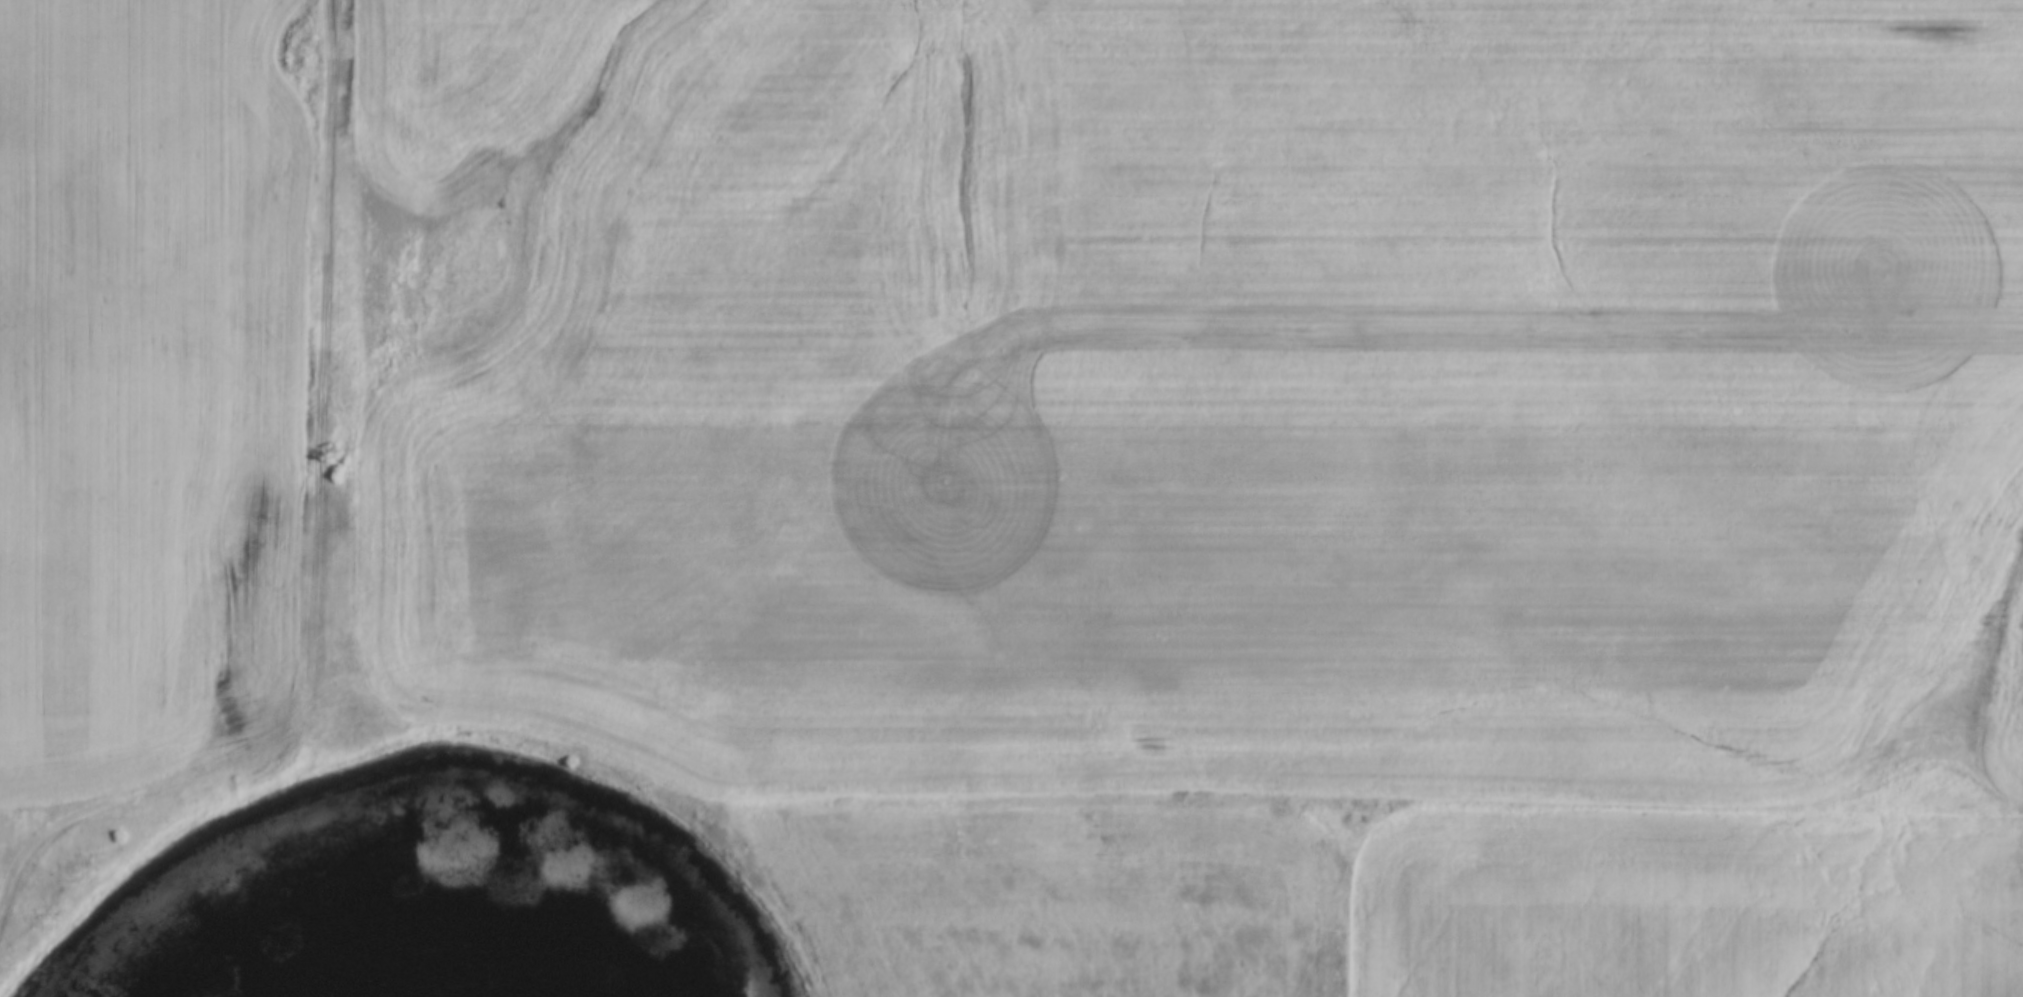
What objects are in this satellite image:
wind turbine: (1897, 270)
wind turbine: (929, 454)
road: (315, 545)

